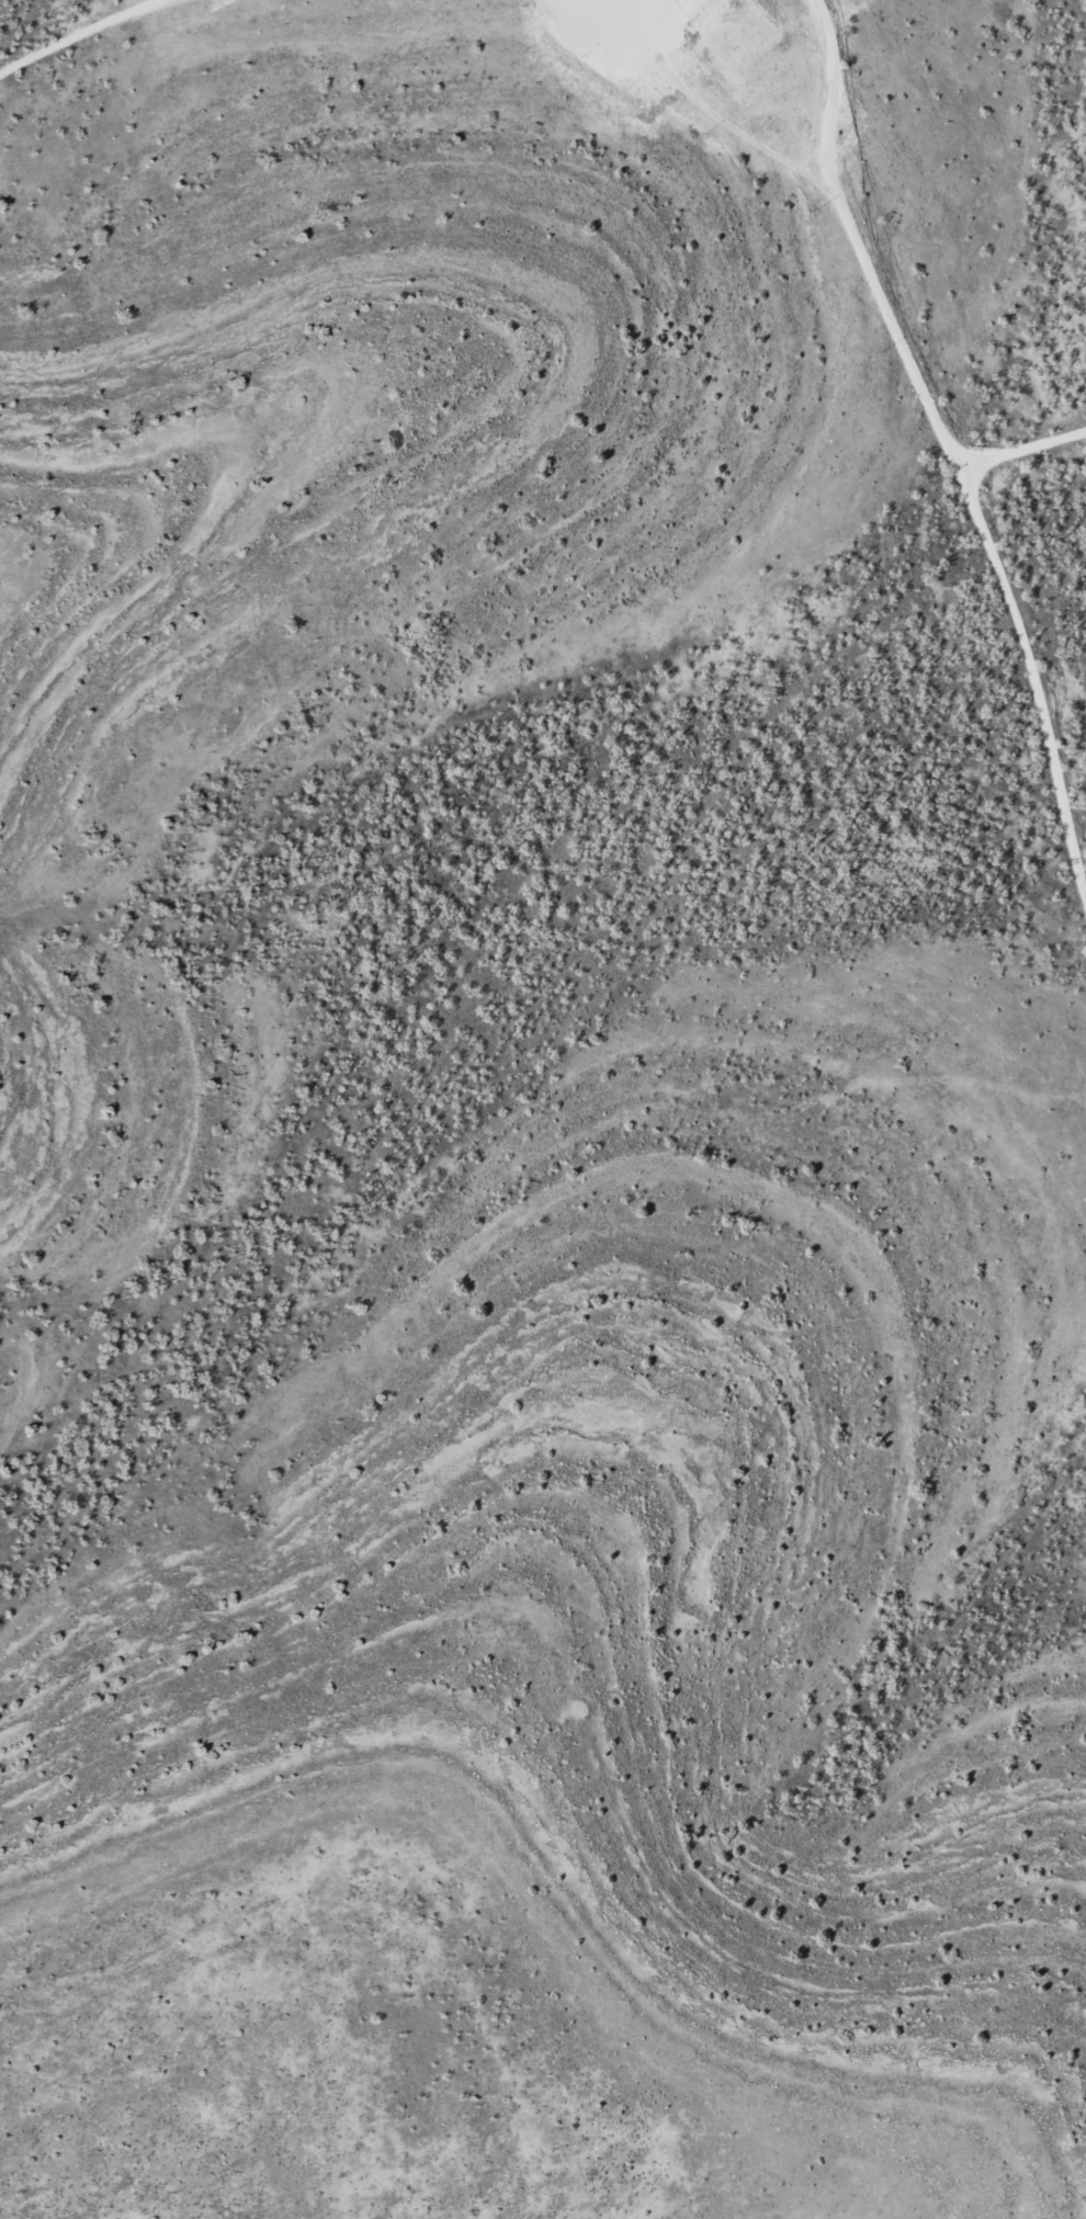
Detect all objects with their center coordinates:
road: (1036, 233)

